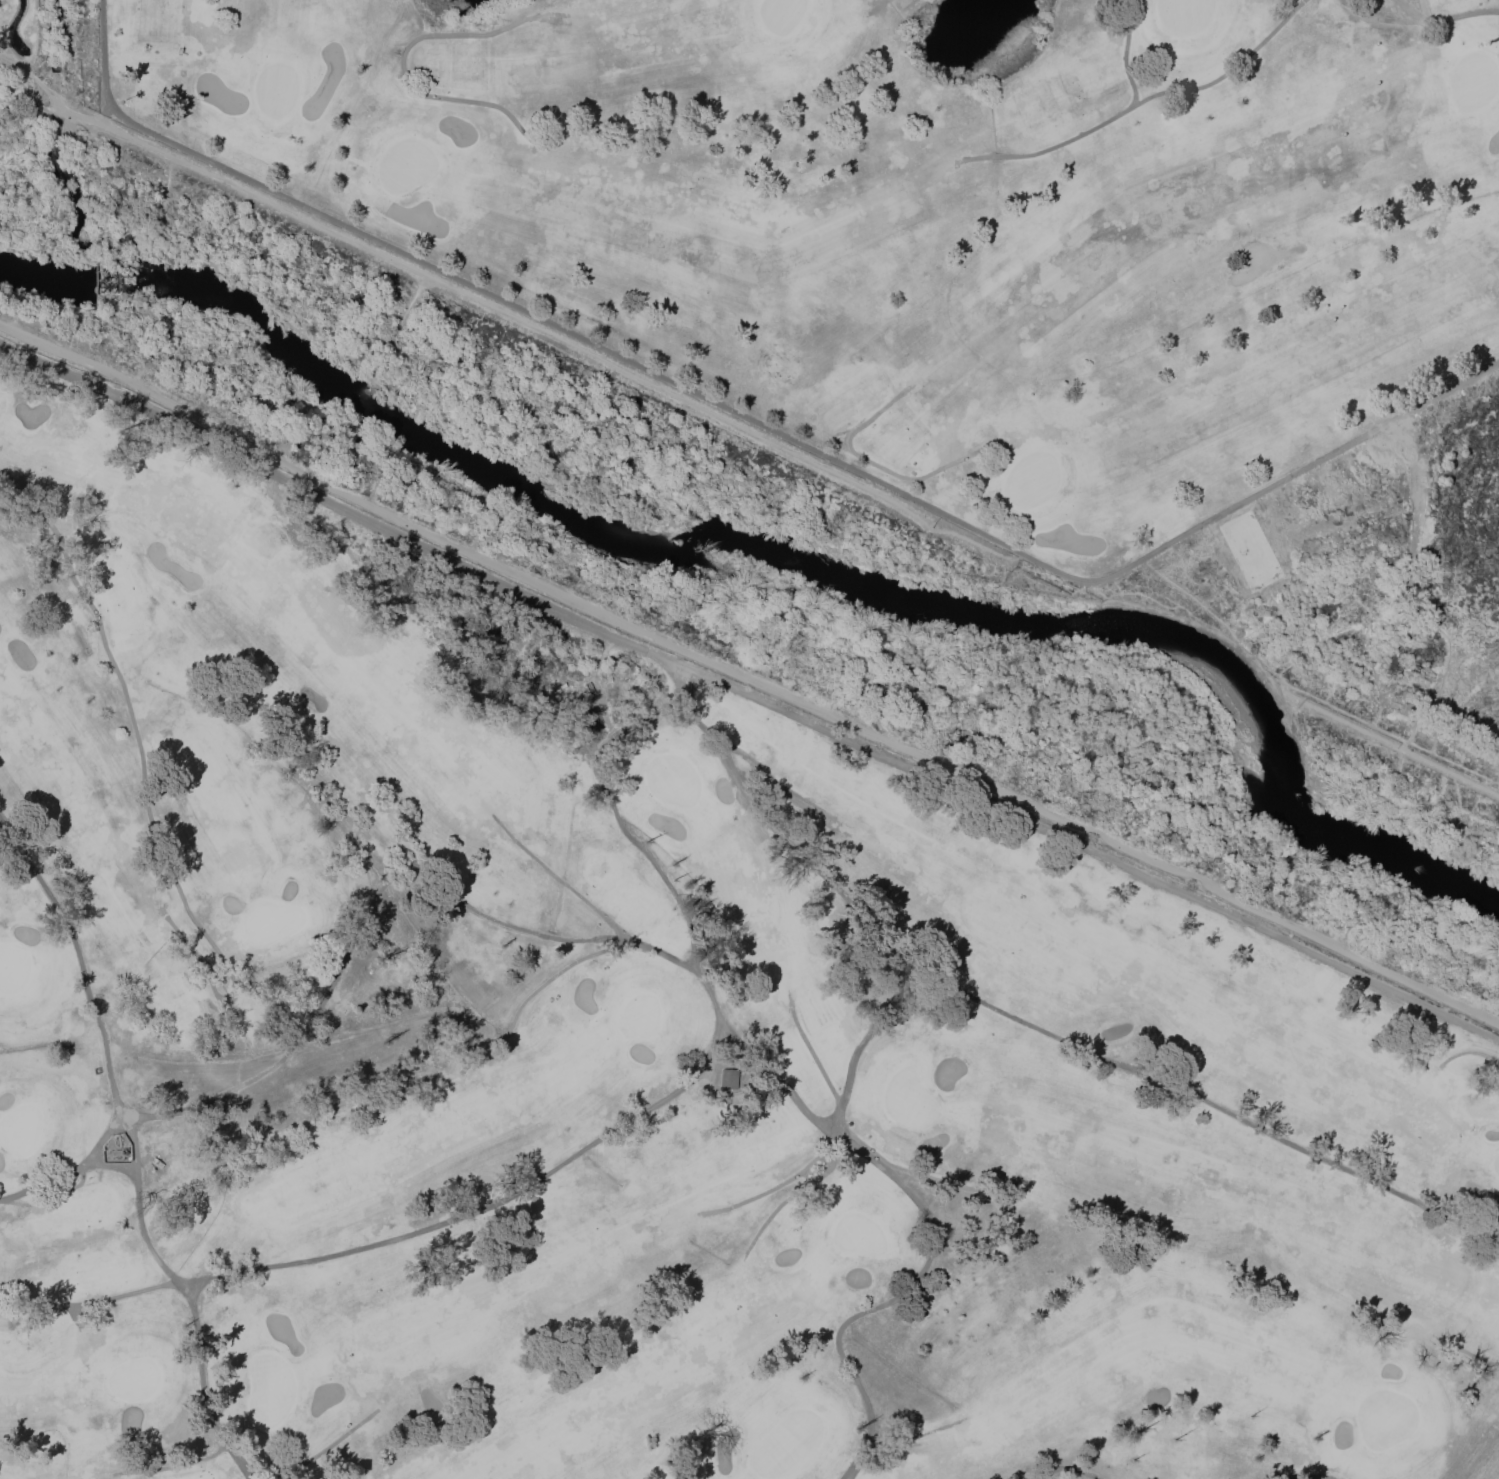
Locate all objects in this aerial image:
road: (878, 5)
road: (1404, 10)
road: (1418, 19)
road: (1124, 52)
park: (37, 68)
road: (402, 68)
river: (57, 94)
road: (1142, 98)
river: (87, 208)
park: (919, 213)
road: (508, 303)
road: (507, 317)
road: (1318, 460)
road: (872, 462)
river: (782, 554)
road: (1069, 577)
road: (1226, 620)
road: (746, 679)
road: (748, 692)
park: (749, 739)
road: (1395, 745)
road: (740, 752)
road: (730, 762)
road: (145, 796)
road: (573, 890)
park: (282, 898)
park: (271, 920)
road: (662, 953)
road: (344, 955)
park: (13, 967)
road: (529, 994)
park: (641, 1012)
road: (1468, 1051)
road: (106, 1056)
road: (813, 1056)
road: (1128, 1069)
road: (777, 1077)
building: (727, 1078)
park: (909, 1099)
park: (20, 1128)
building: (117, 1148)
road: (570, 1158)
road: (65, 1171)
road: (919, 1172)
road: (784, 1181)
park: (928, 1183)
road: (59, 1190)
road: (793, 1192)
road: (890, 1300)
road: (89, 1303)
road: (1475, 1357)
park: (134, 1378)
park: (1384, 1417)
park: (787, 1443)
road: (321, 1450)
road: (171, 1464)
road: (1063, 1468)
road: (1314, 1476)

